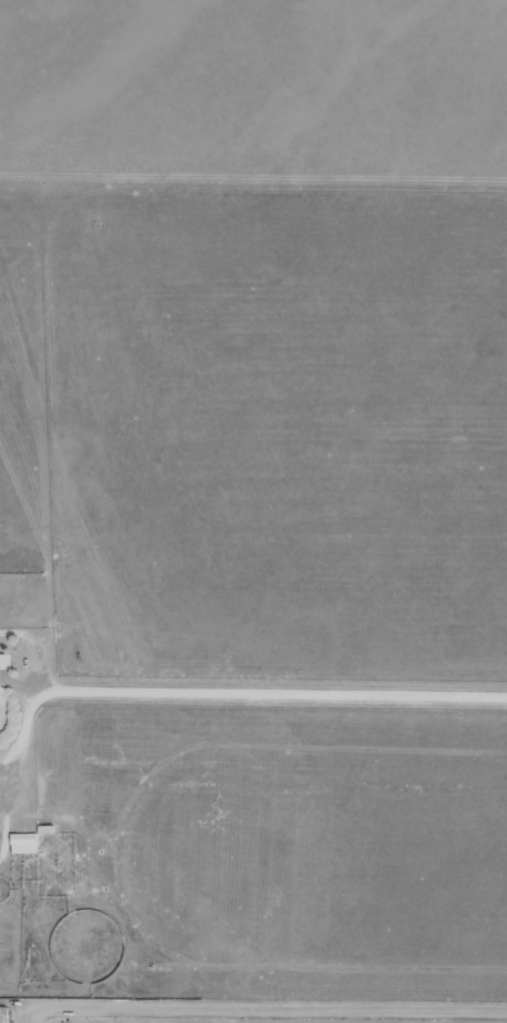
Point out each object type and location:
road: (273, 696)
building: (23, 844)
road: (257, 1003)
building: (3, 1015)

